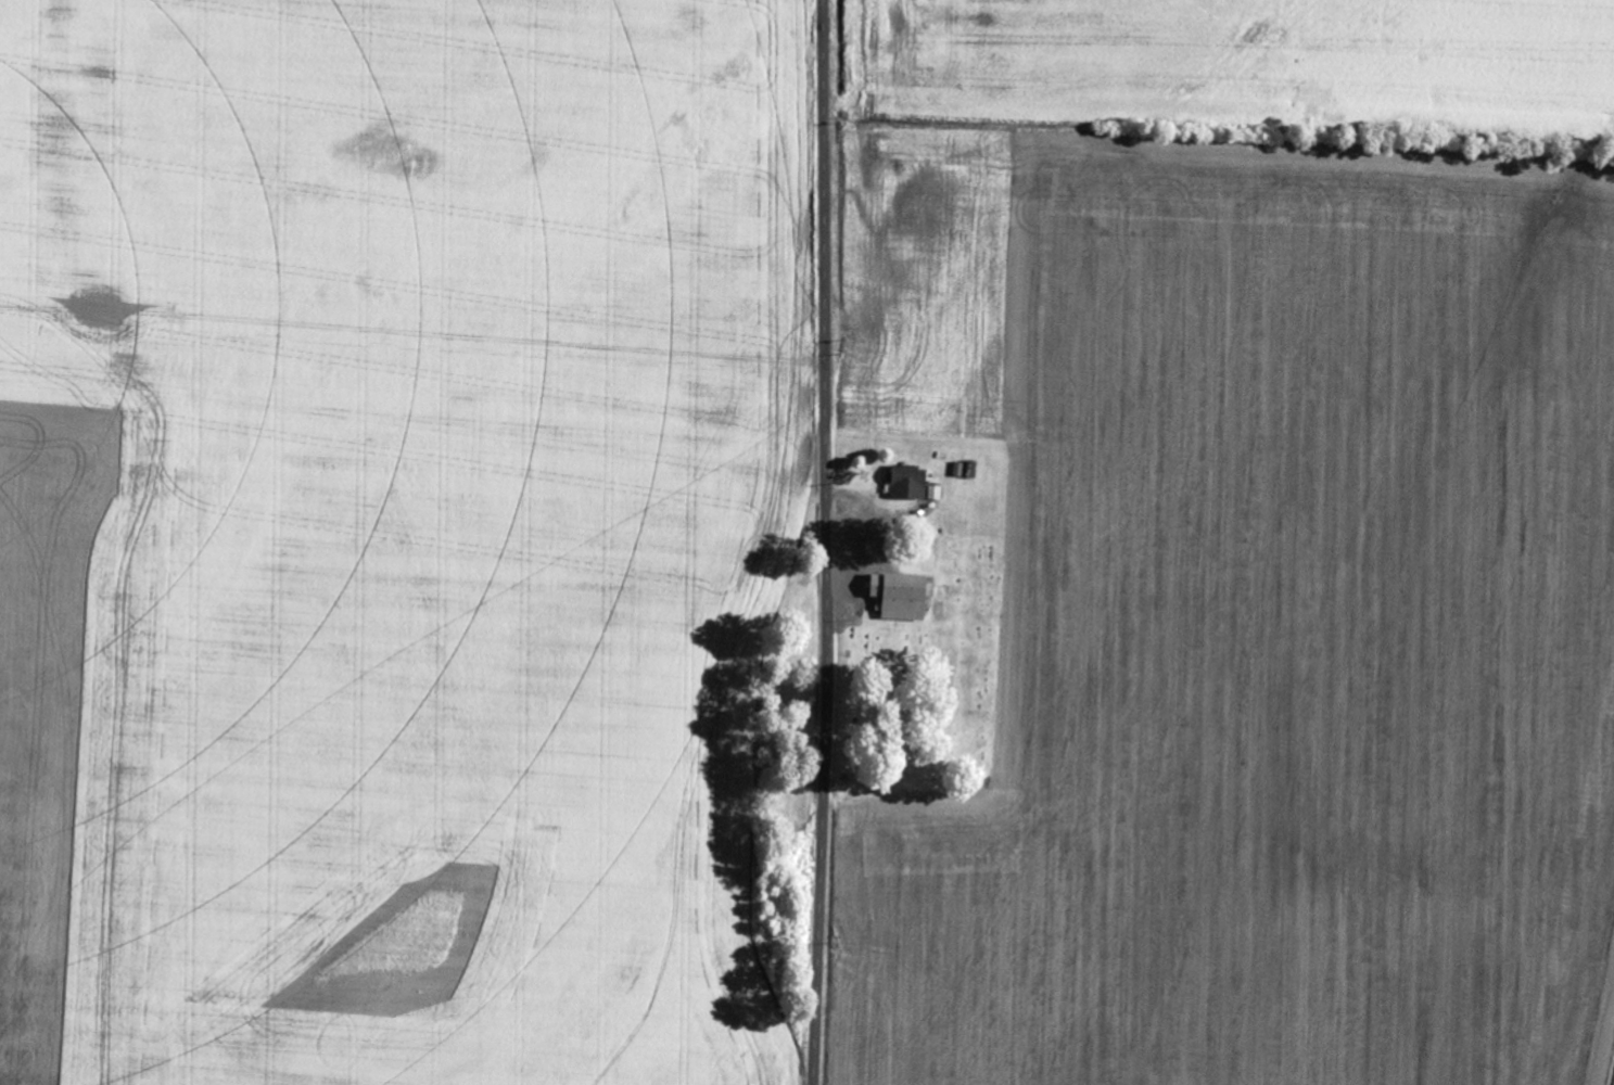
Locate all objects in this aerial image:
road: (415, 261)
road: (828, 542)
park: (926, 679)

